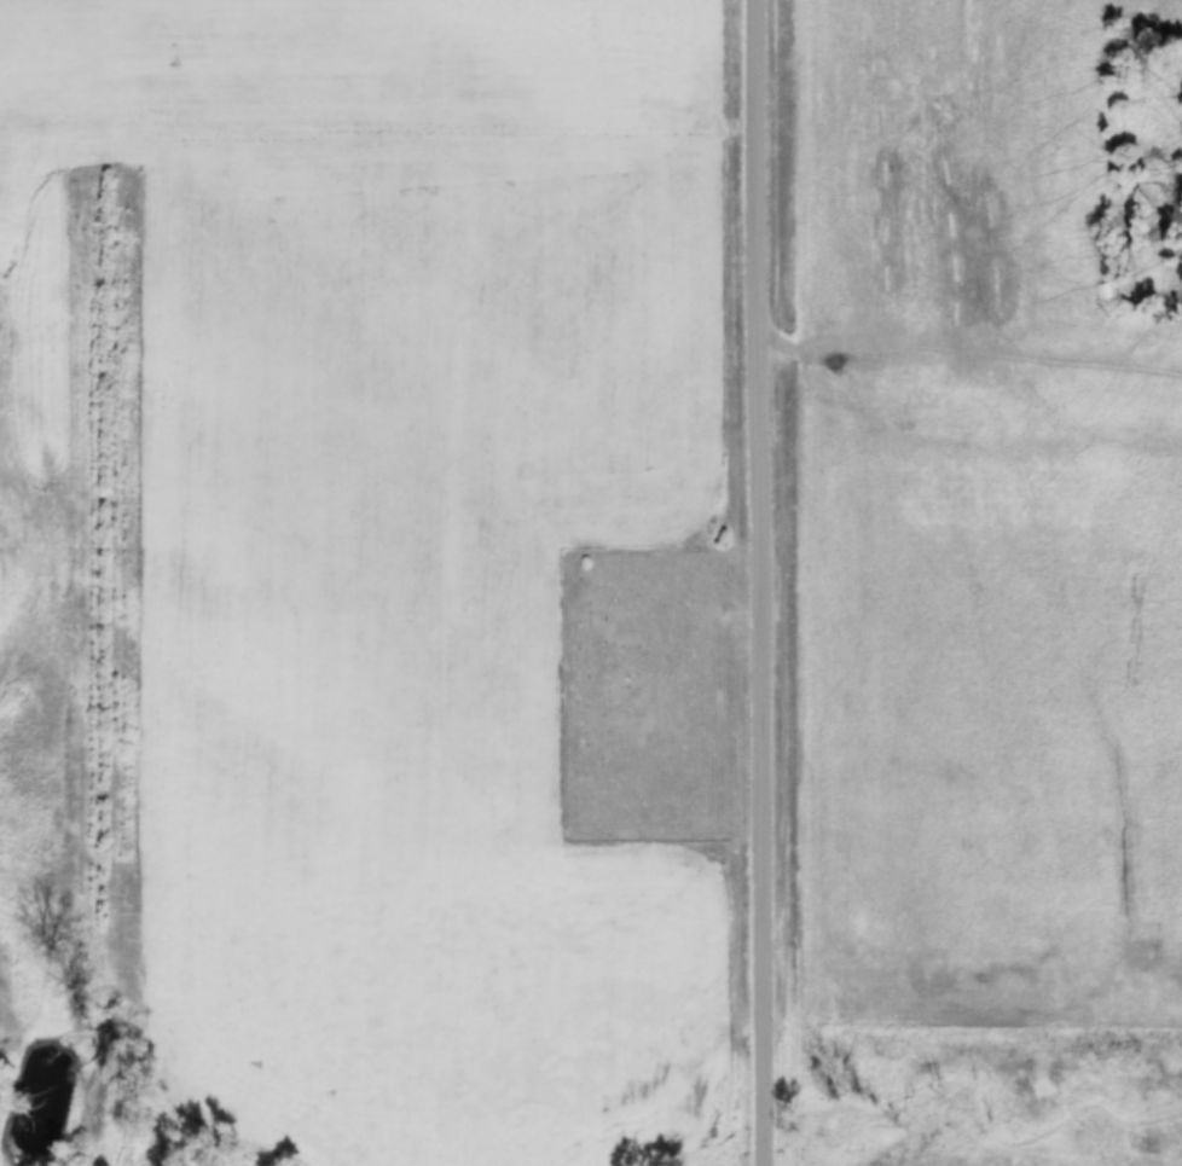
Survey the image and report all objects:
road: (764, 582)

